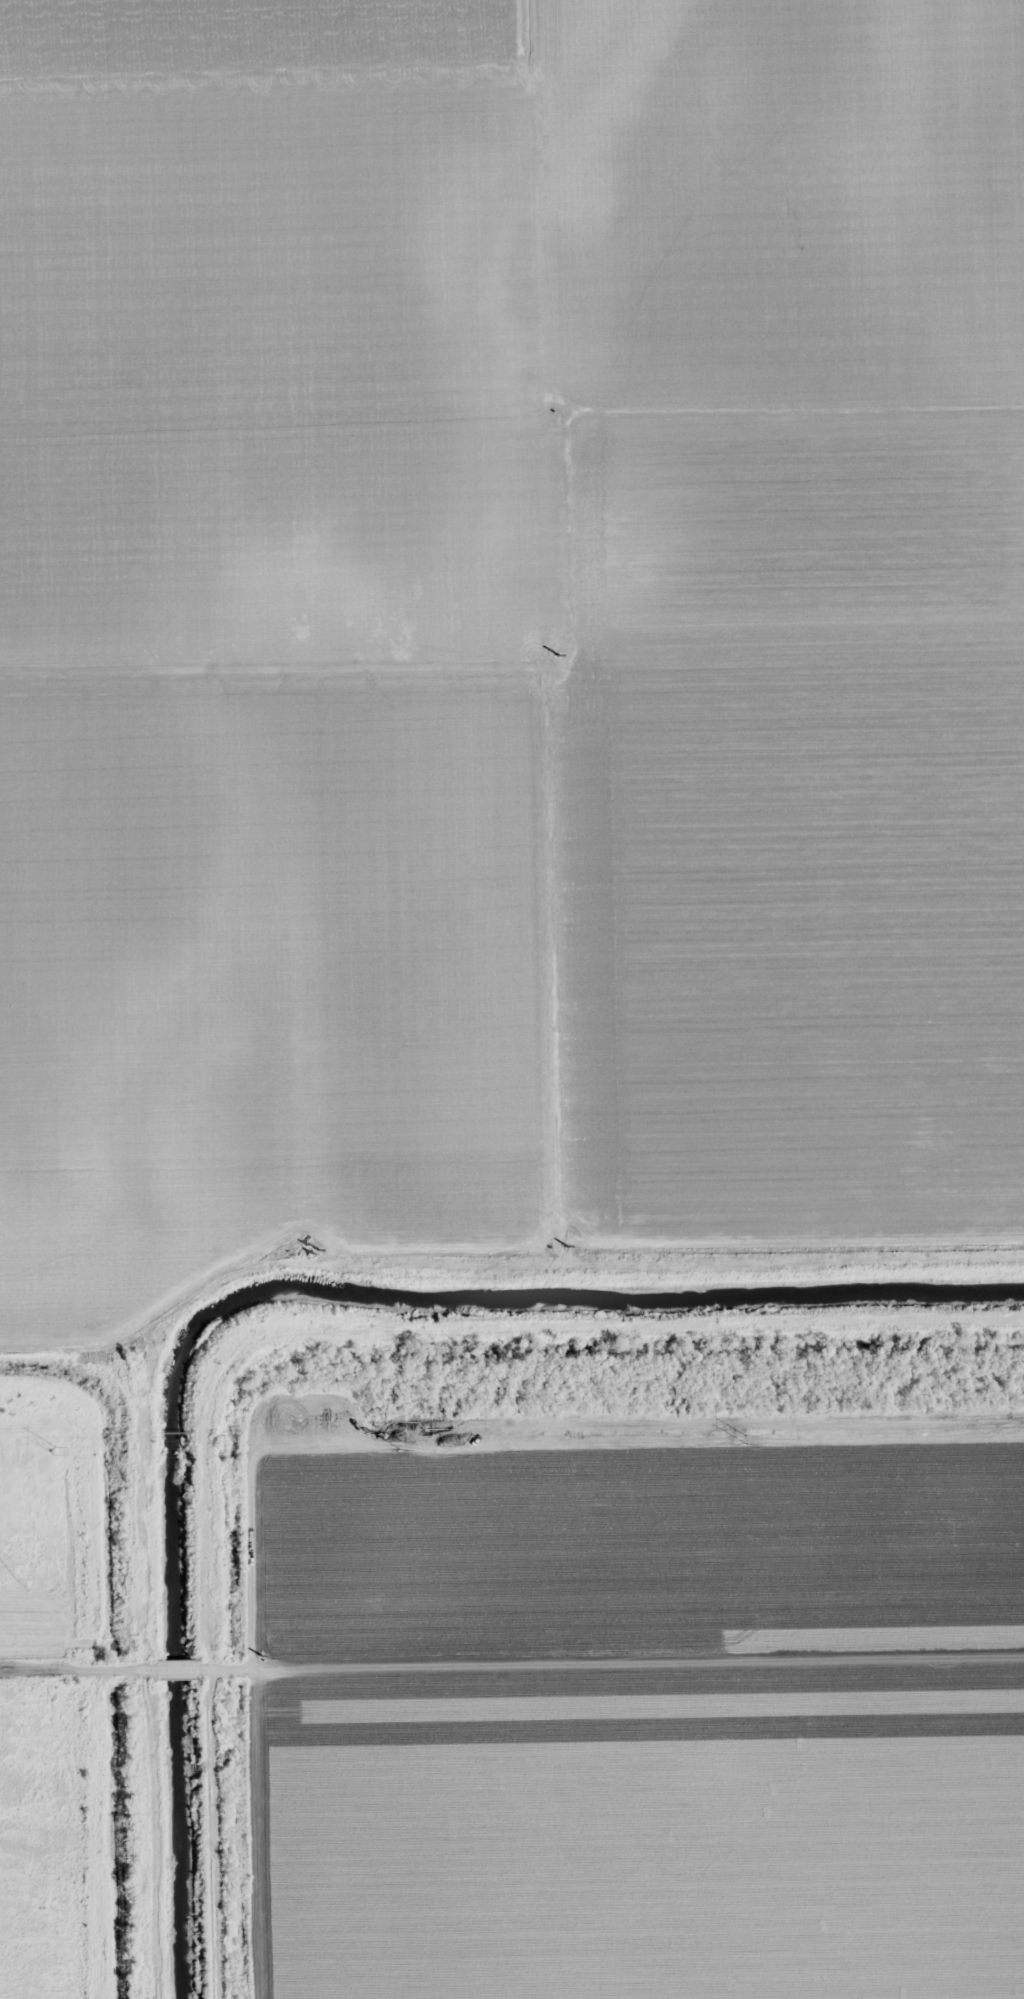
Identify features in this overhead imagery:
power tower: (745, 1438)
power tower: (399, 1443)
power tower: (53, 1449)
road: (511, 1660)

